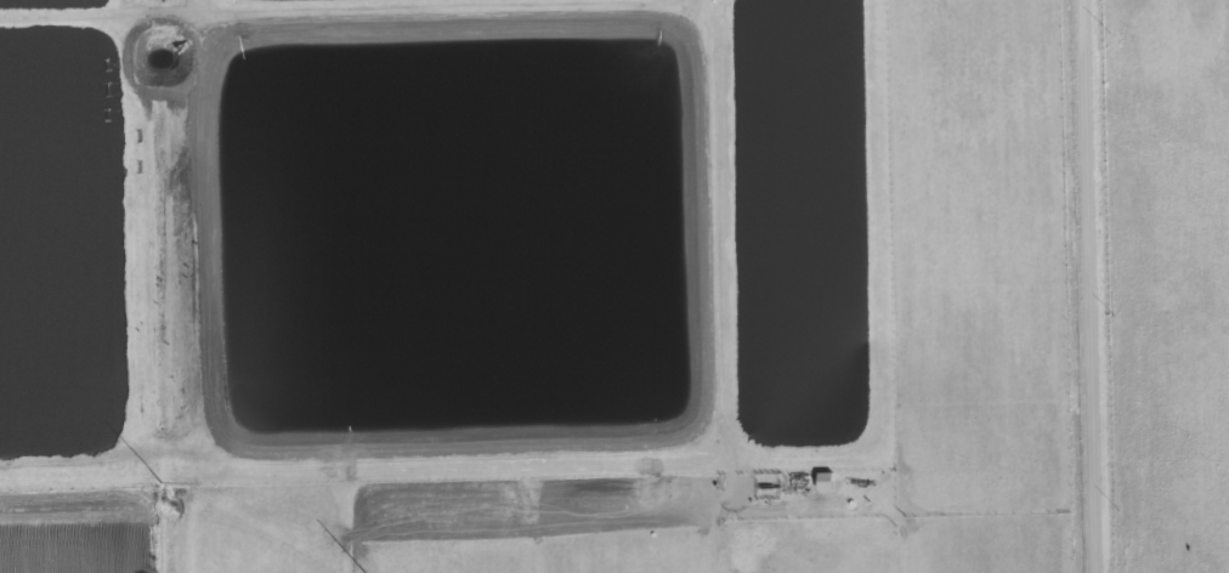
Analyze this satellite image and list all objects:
road: (1092, 286)

